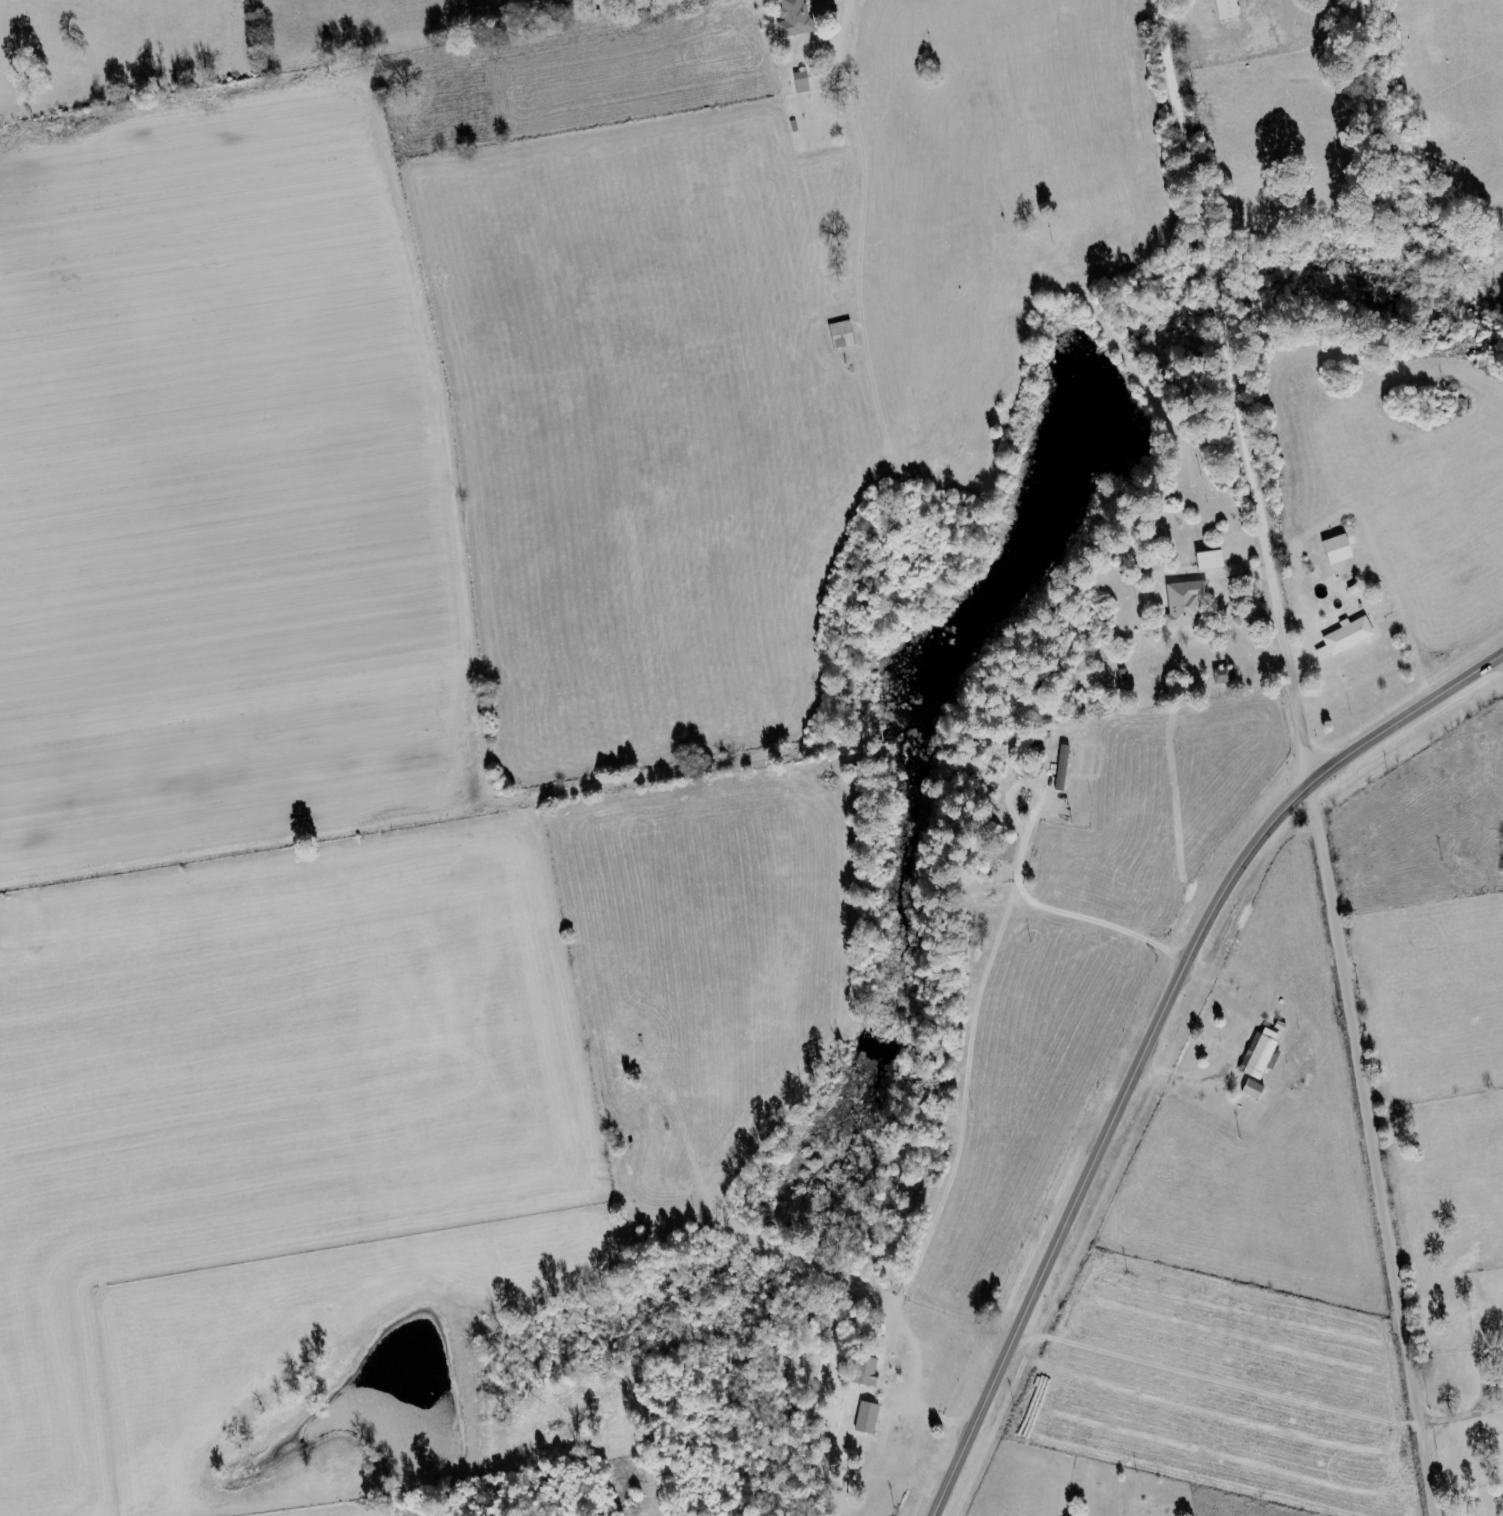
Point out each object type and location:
building: (1224, 9)
building: (791, 18)
building: (799, 83)
building: (839, 335)
road: (1240, 389)
building: (1334, 551)
building: (1181, 603)
building: (1343, 638)
building: (1218, 676)
building: (1059, 768)
road: (1150, 1031)
building: (1250, 1090)
road: (1372, 1149)
building: (861, 1371)
building: (864, 1418)

